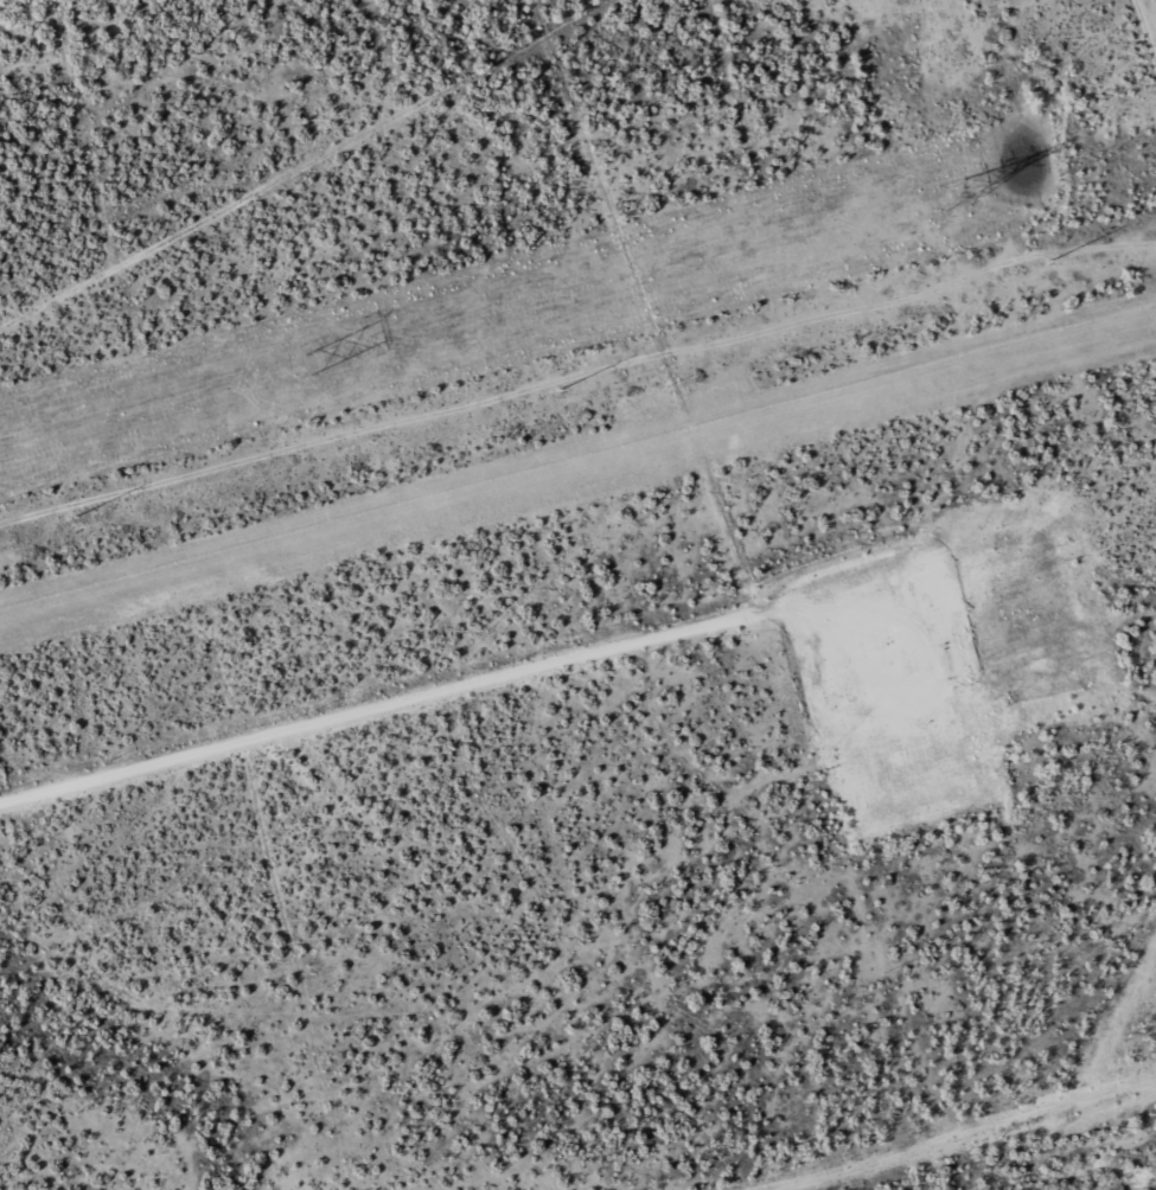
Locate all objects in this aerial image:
power tower: (945, 191)
power tower: (1049, 262)
power tower: (308, 359)
power tower: (560, 390)
power tower: (76, 518)

